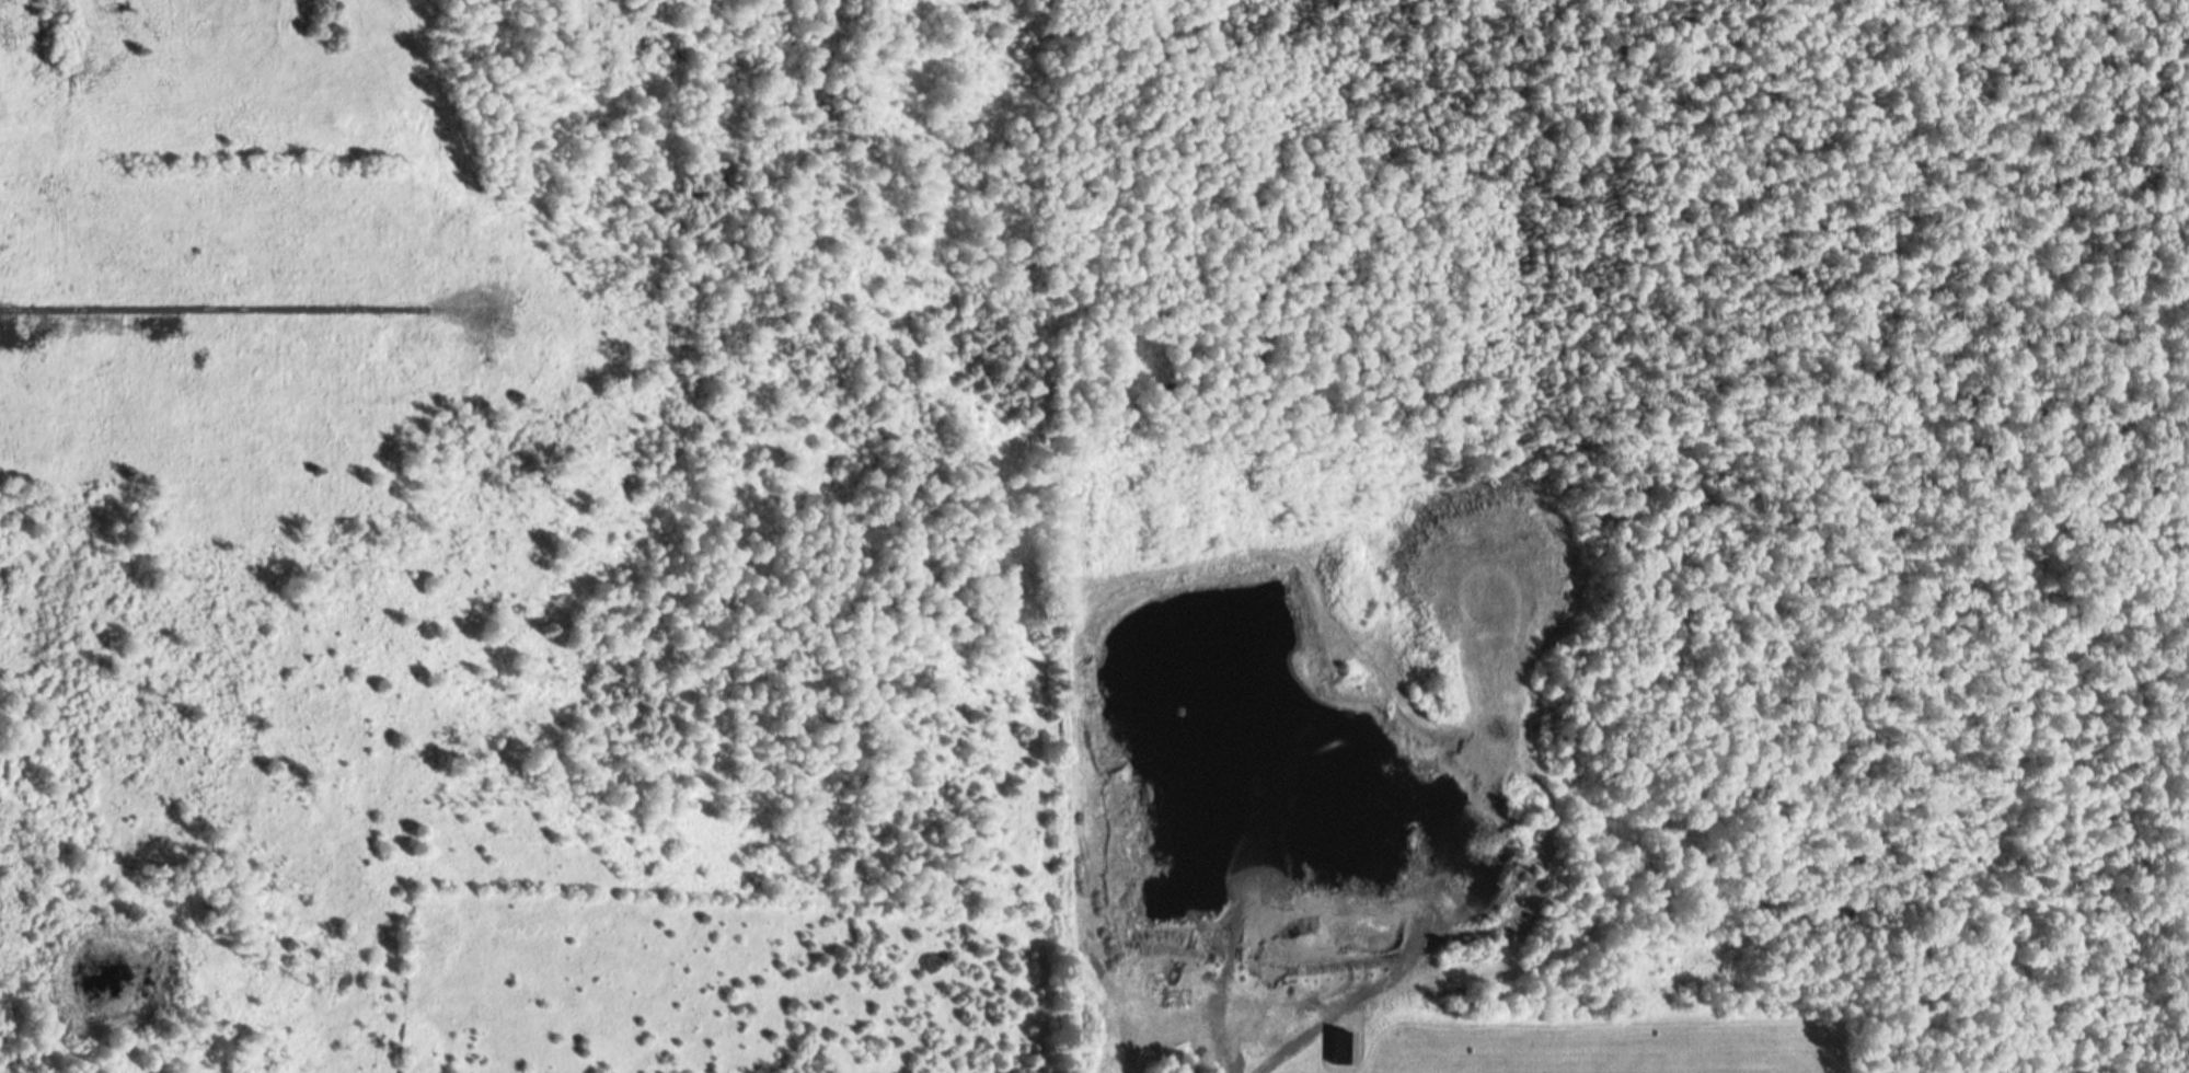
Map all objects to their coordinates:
building: (1341, 1049)
road: (71, 1051)

